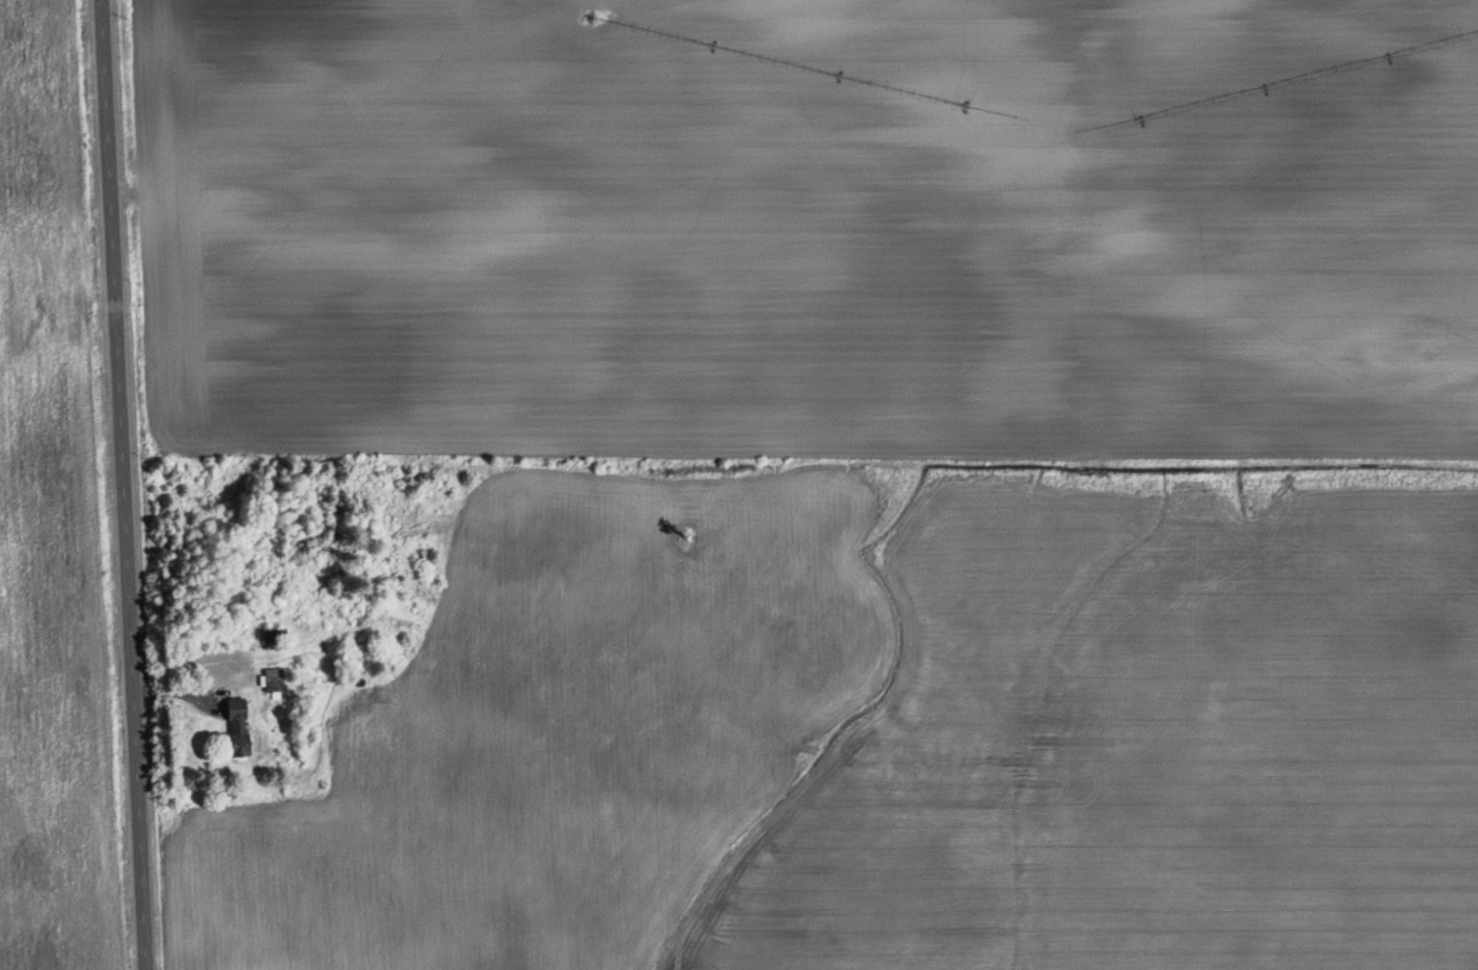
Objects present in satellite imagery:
road: (121, 484)
building: (274, 636)
building: (277, 681)
building: (239, 727)

